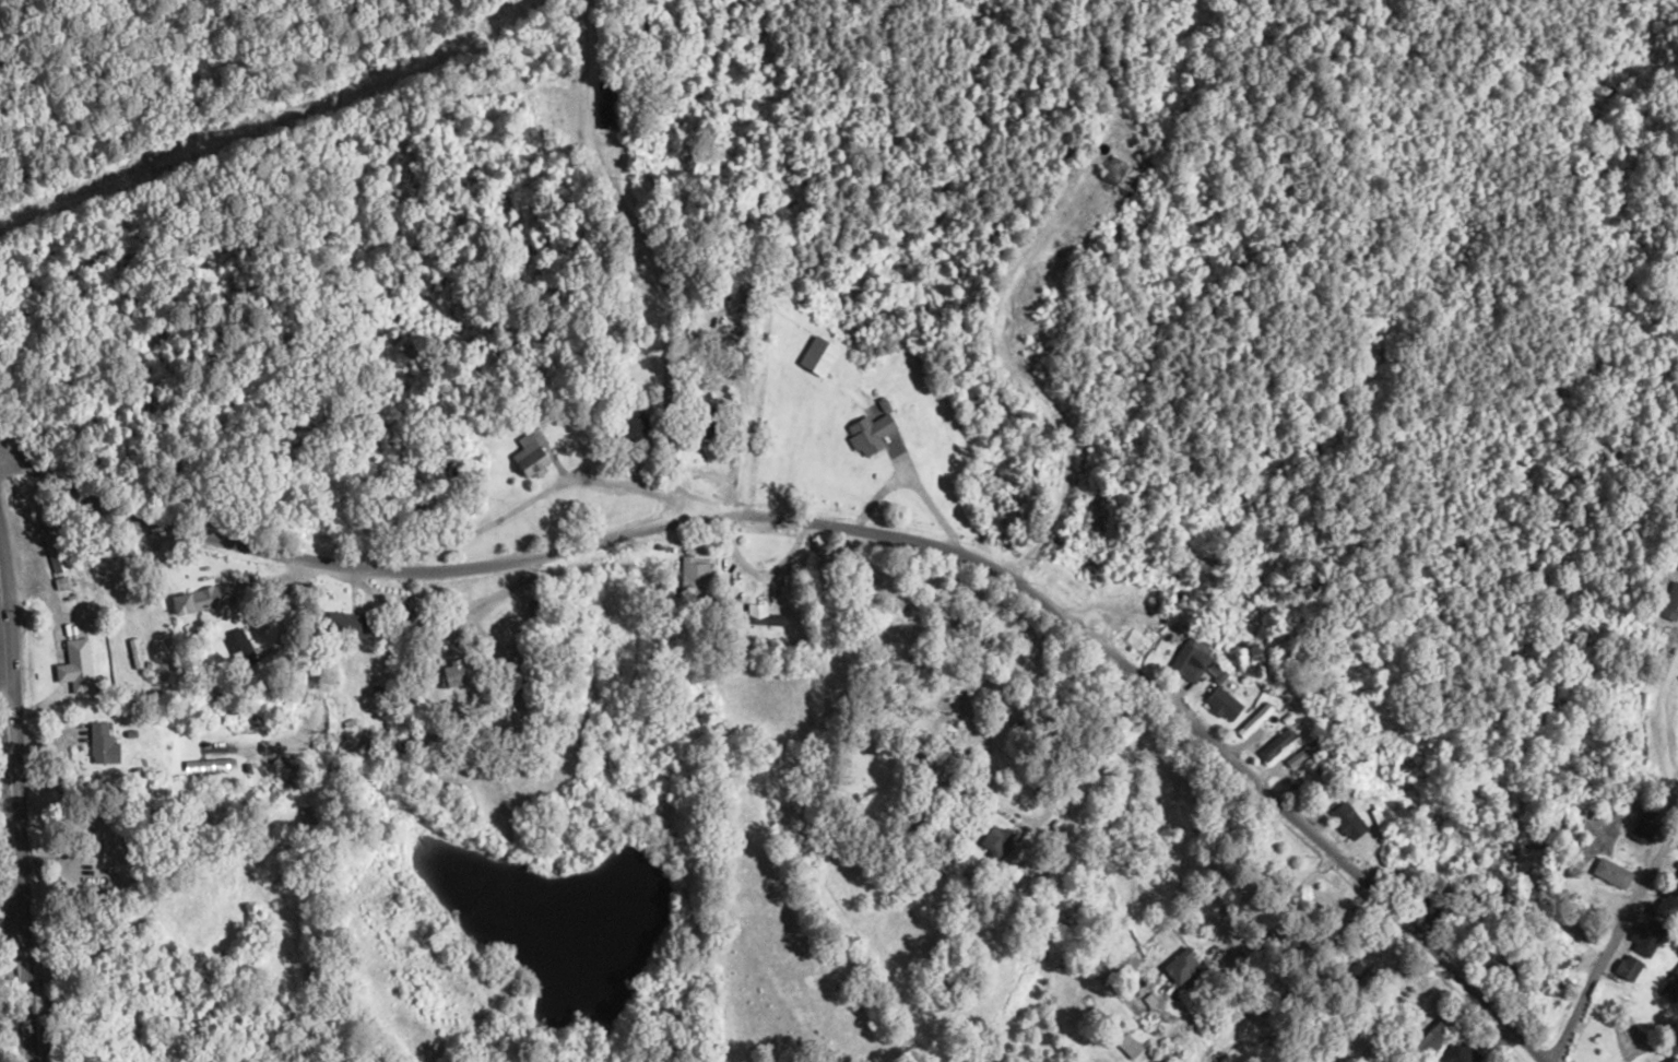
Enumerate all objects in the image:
building: (604, 119)
road: (649, 255)
road: (744, 303)
building: (817, 356)
building: (701, 422)
building: (629, 427)
building: (868, 434)
building: (529, 457)
road: (191, 563)
road: (354, 567)
road: (223, 569)
building: (690, 575)
building: (1113, 589)
building: (200, 599)
building: (1669, 602)
building: (757, 611)
building: (348, 624)
building: (1135, 634)
building: (1661, 644)
building: (132, 652)
building: (1184, 661)
building: (452, 673)
road: (5, 693)
building: (1221, 704)
road: (1173, 713)
building: (1250, 719)
building: (99, 743)
building: (1272, 743)
building: (1302, 748)
building: (206, 766)
road: (20, 805)
building: (308, 814)
building: (1344, 819)
building: (1642, 824)
building: (992, 840)
building: (272, 861)
road: (1652, 861)
building: (1005, 866)
building: (1609, 872)
building: (1674, 877)
building: (1664, 905)
building: (1643, 934)
building: (1493, 961)
building: (1179, 966)
building: (1626, 966)
building: (1351, 967)
building: (1551, 973)
building: (1670, 984)
road: (16, 1001)
road: (121, 1002)
building: (1475, 1031)
building: (1434, 1032)
road: (1497, 1043)
building: (1126, 1045)
building: (1457, 1051)

